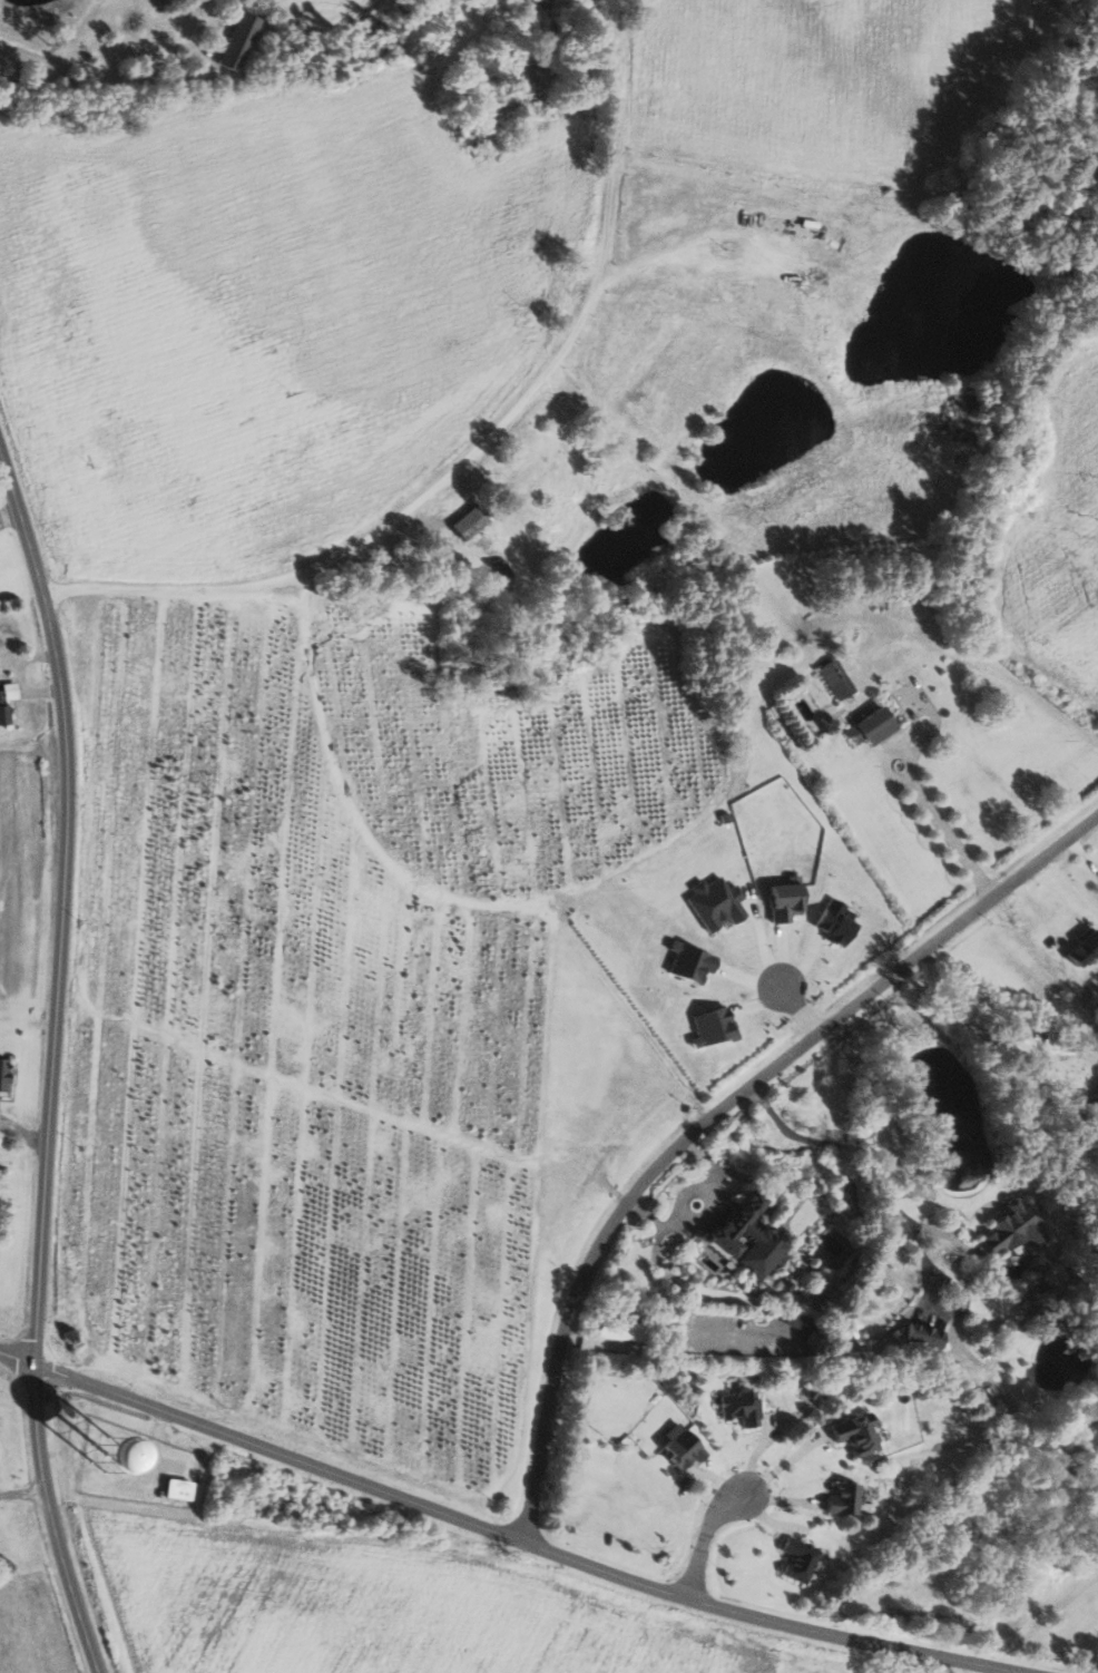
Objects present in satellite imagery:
building: (239, 41)
road: (105, 78)
road: (477, 442)
building: (470, 522)
road: (788, 615)
building: (836, 678)
building: (873, 725)
road: (949, 828)
building: (1086, 948)
road: (1004, 1006)
road: (805, 1010)
road: (47, 1070)
building: (3, 1075)
road: (718, 1121)
road: (899, 1210)
building: (1016, 1229)
building: (622, 1329)
building: (925, 1334)
building: (742, 1407)
building: (859, 1434)
building: (684, 1448)
building: (109, 1454)
building: (179, 1488)
road: (20, 1497)
building: (846, 1498)
road: (710, 1528)
road: (497, 1537)
building: (801, 1559)
airport runway: (1086, 1611)

